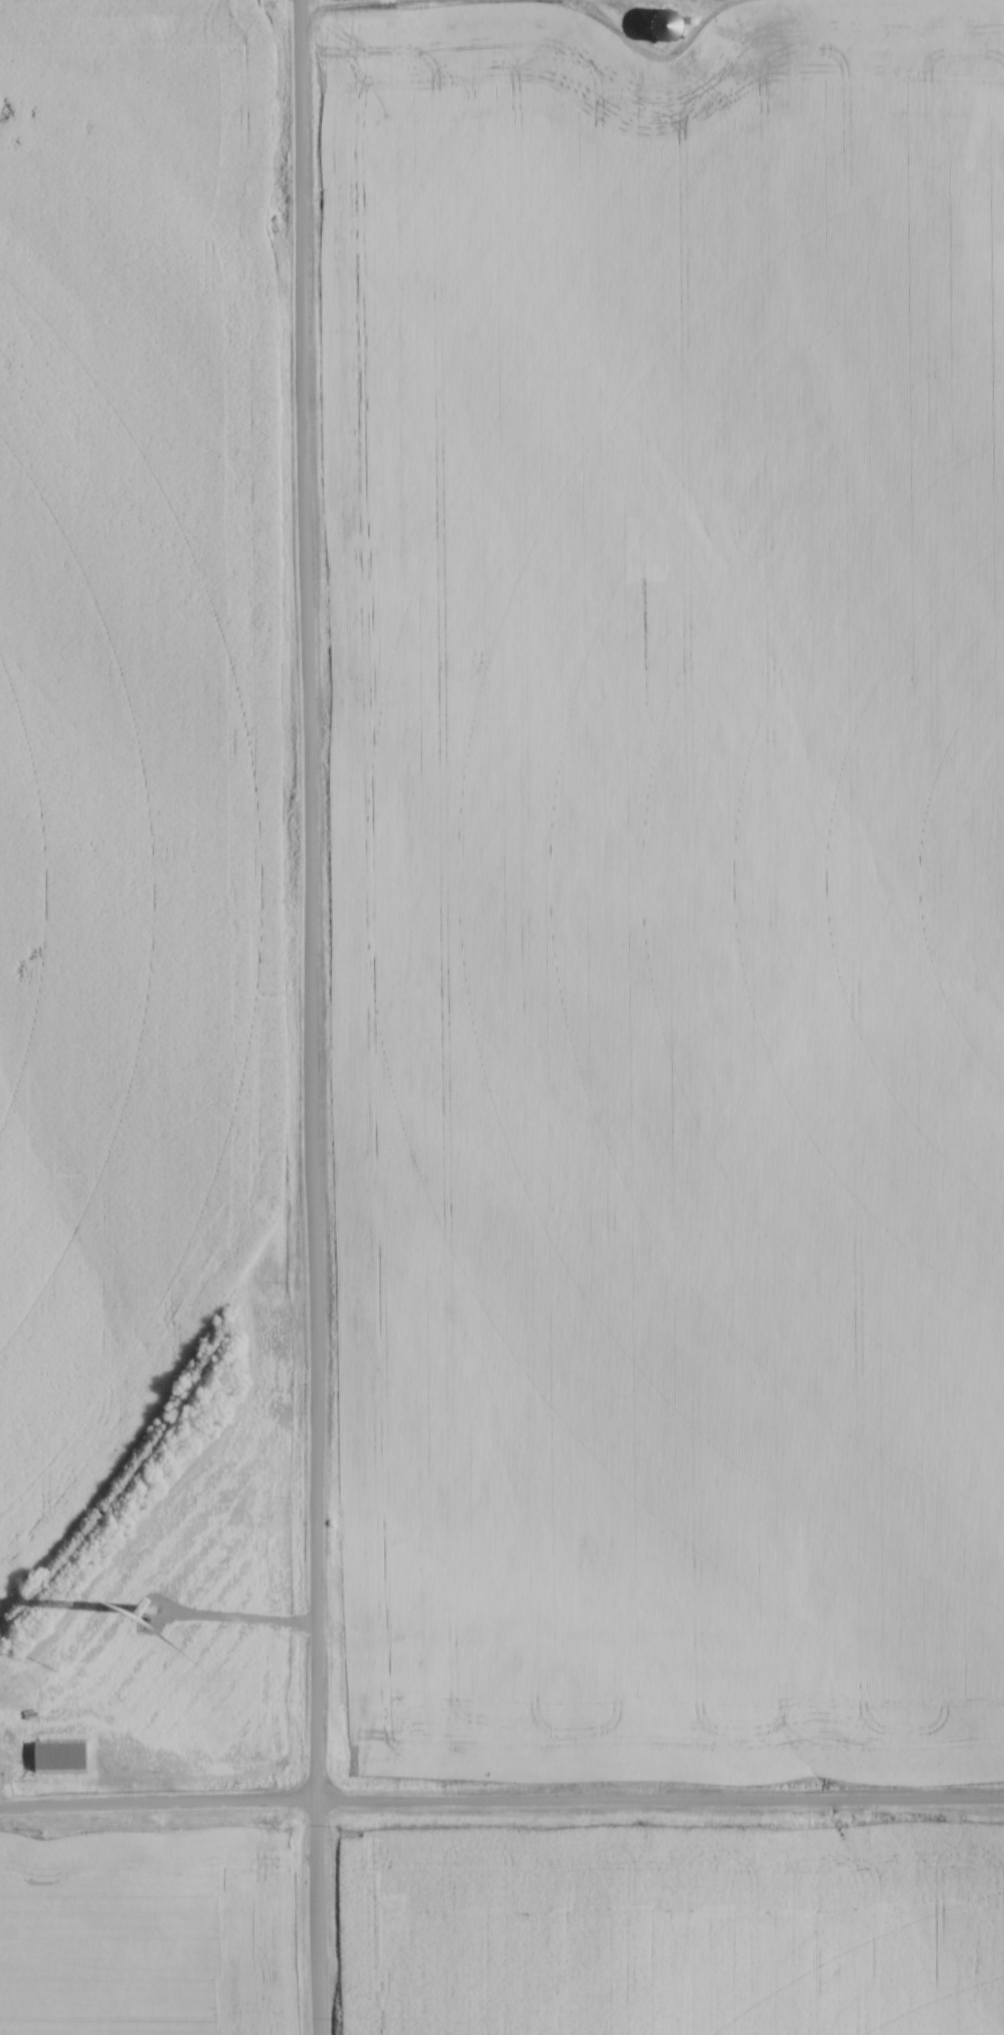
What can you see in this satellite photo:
road: (650, 0)
road: (309, 1017)
wind turbine: (152, 1609)
building: (63, 1757)
road: (501, 1808)
building: (75, 1850)

